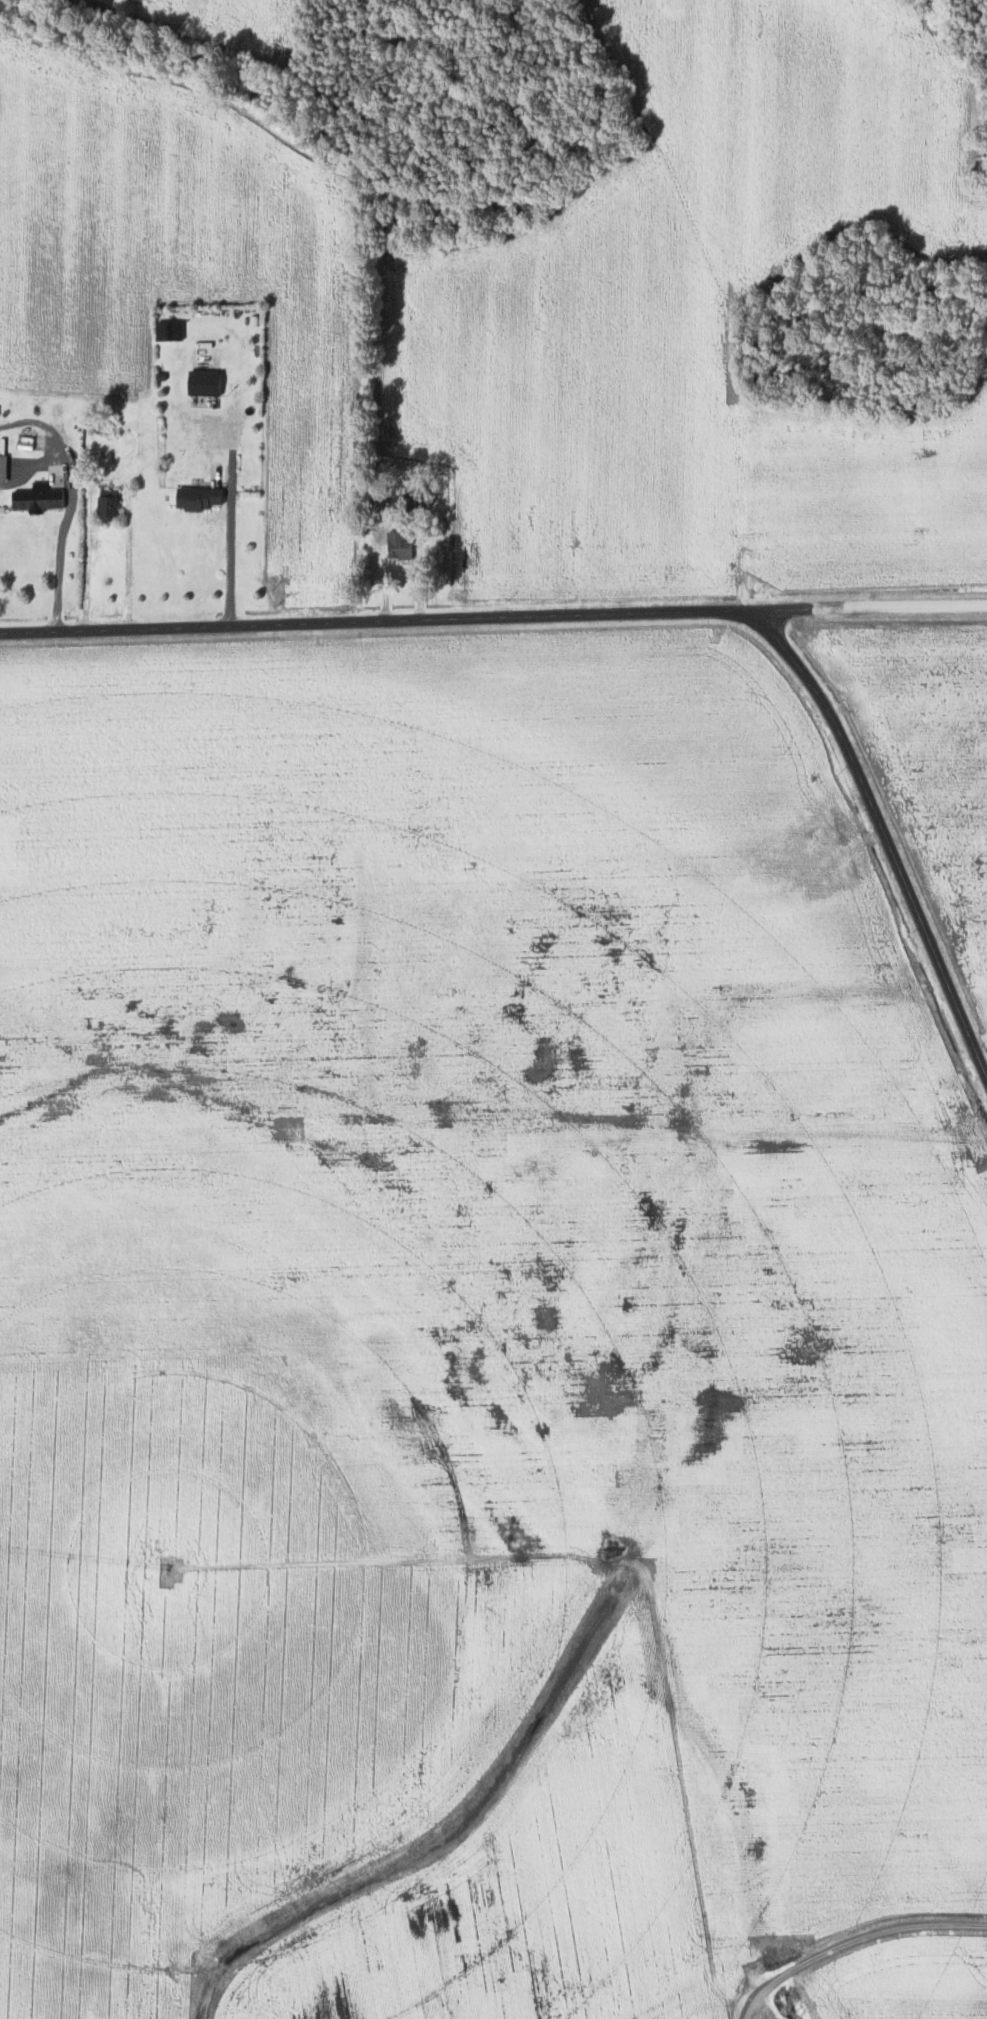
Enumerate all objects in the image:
building: (166, 330)
building: (201, 381)
building: (2, 459)
building: (39, 491)
building: (195, 497)
building: (105, 504)
building: (397, 544)
road: (493, 615)
road: (880, 830)
road: (853, 1940)

